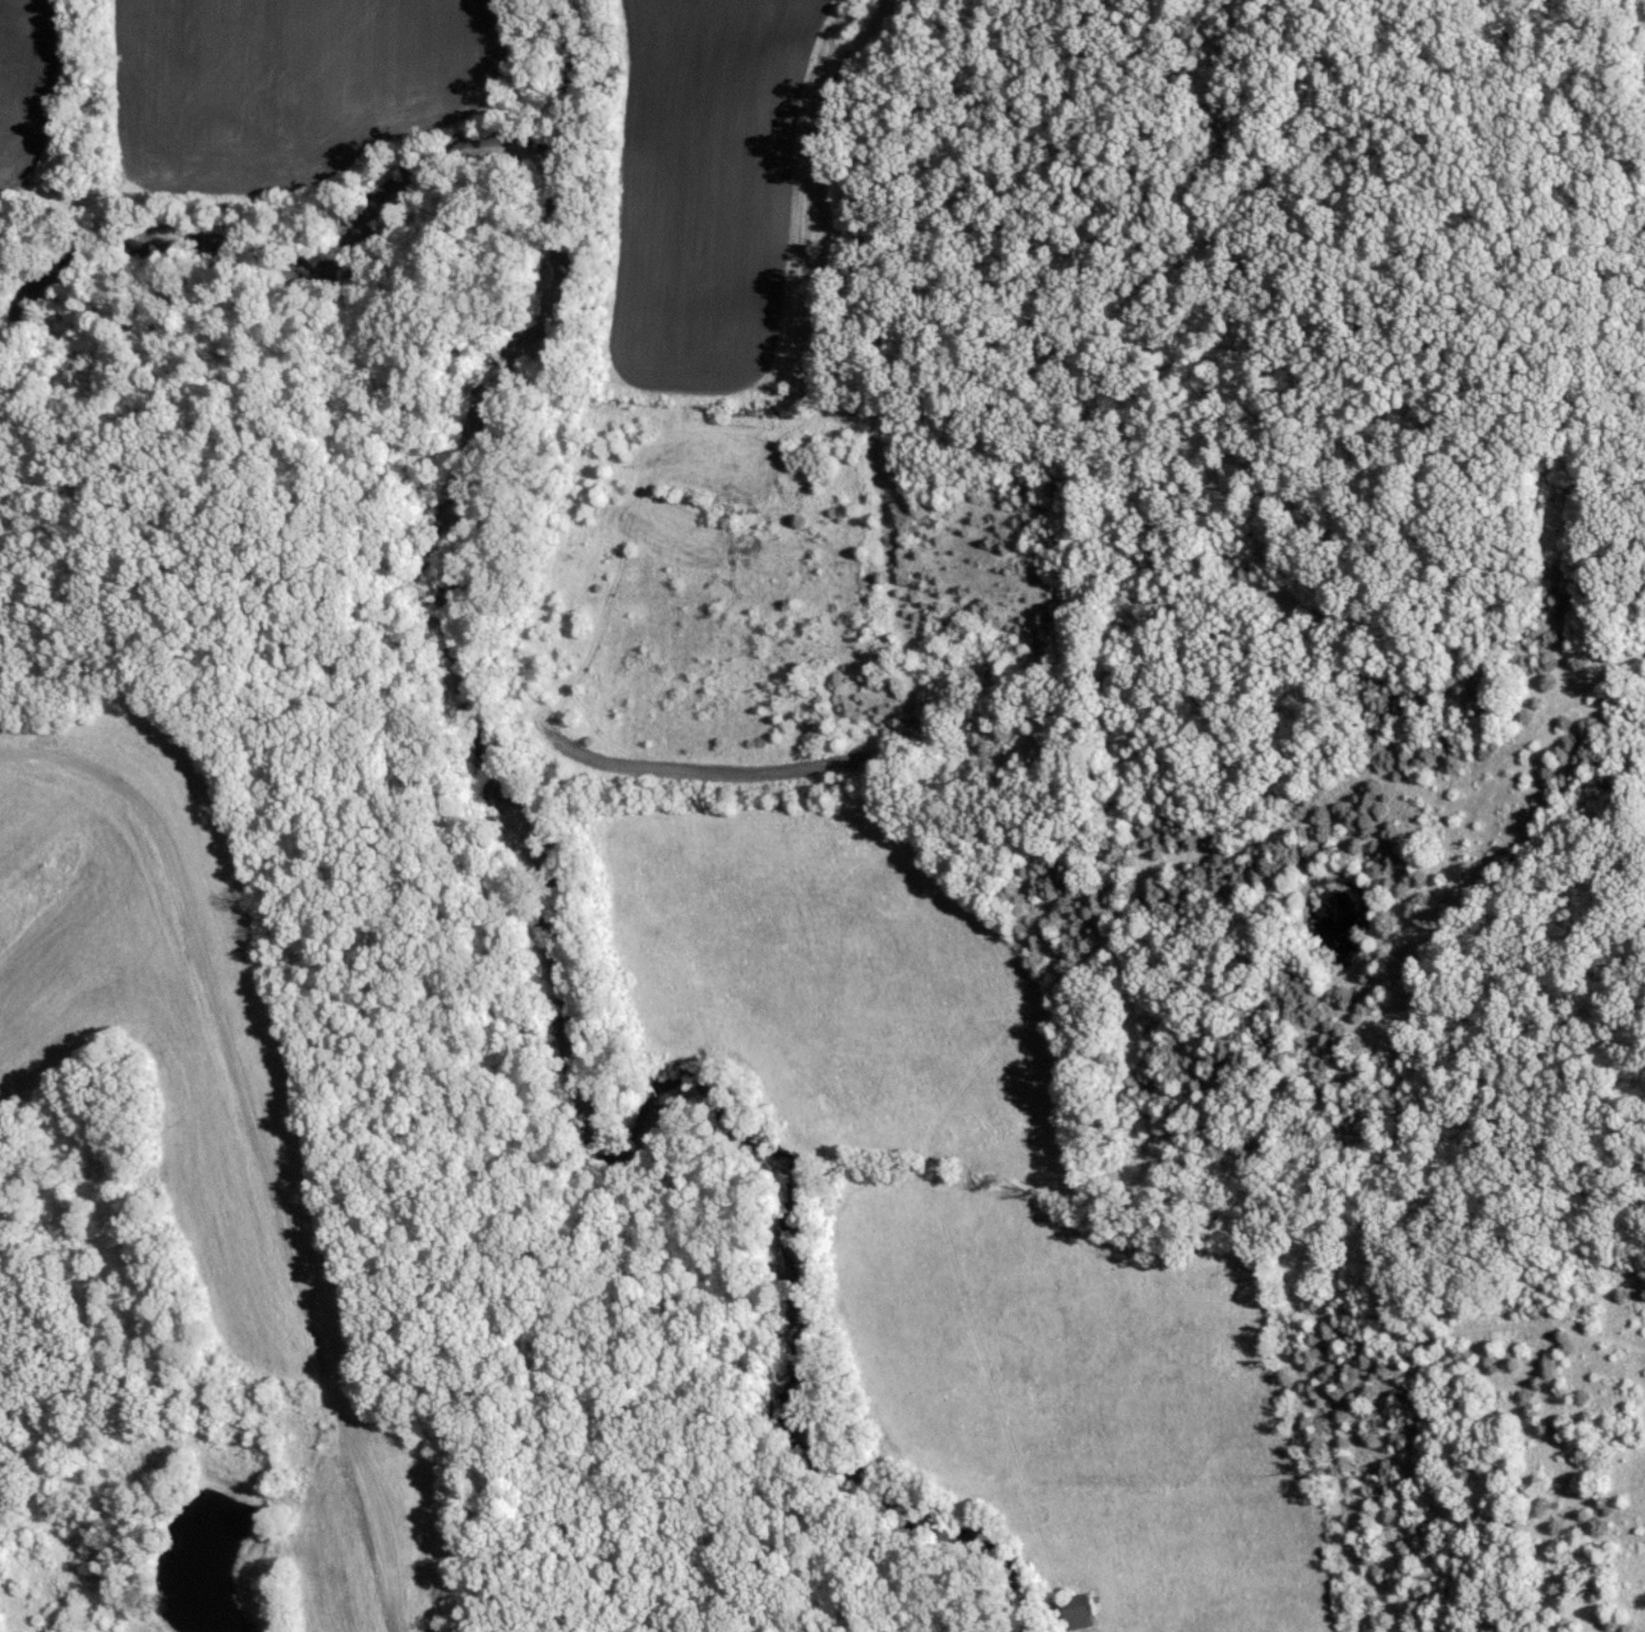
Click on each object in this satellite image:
building: (1076, 1612)

